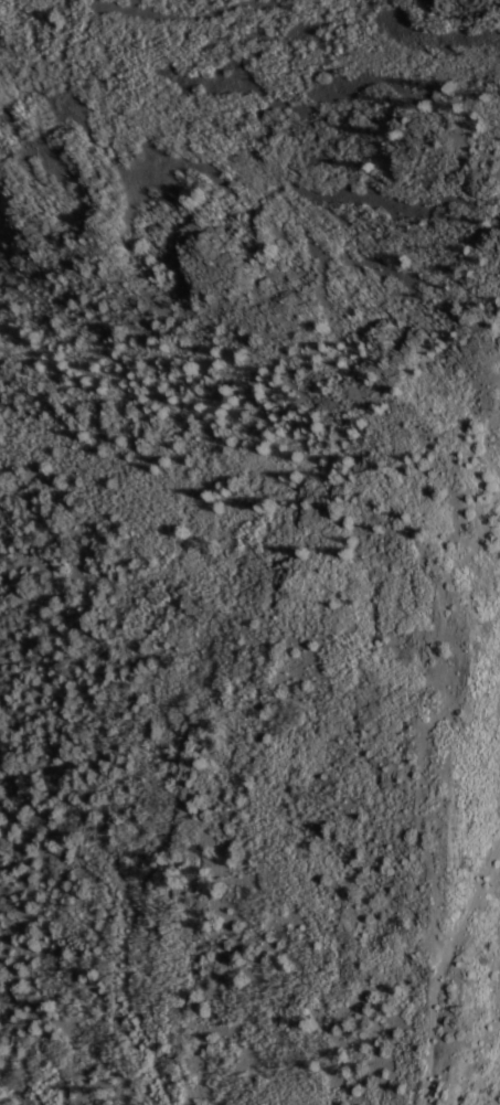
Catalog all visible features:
road: (450, 982)

